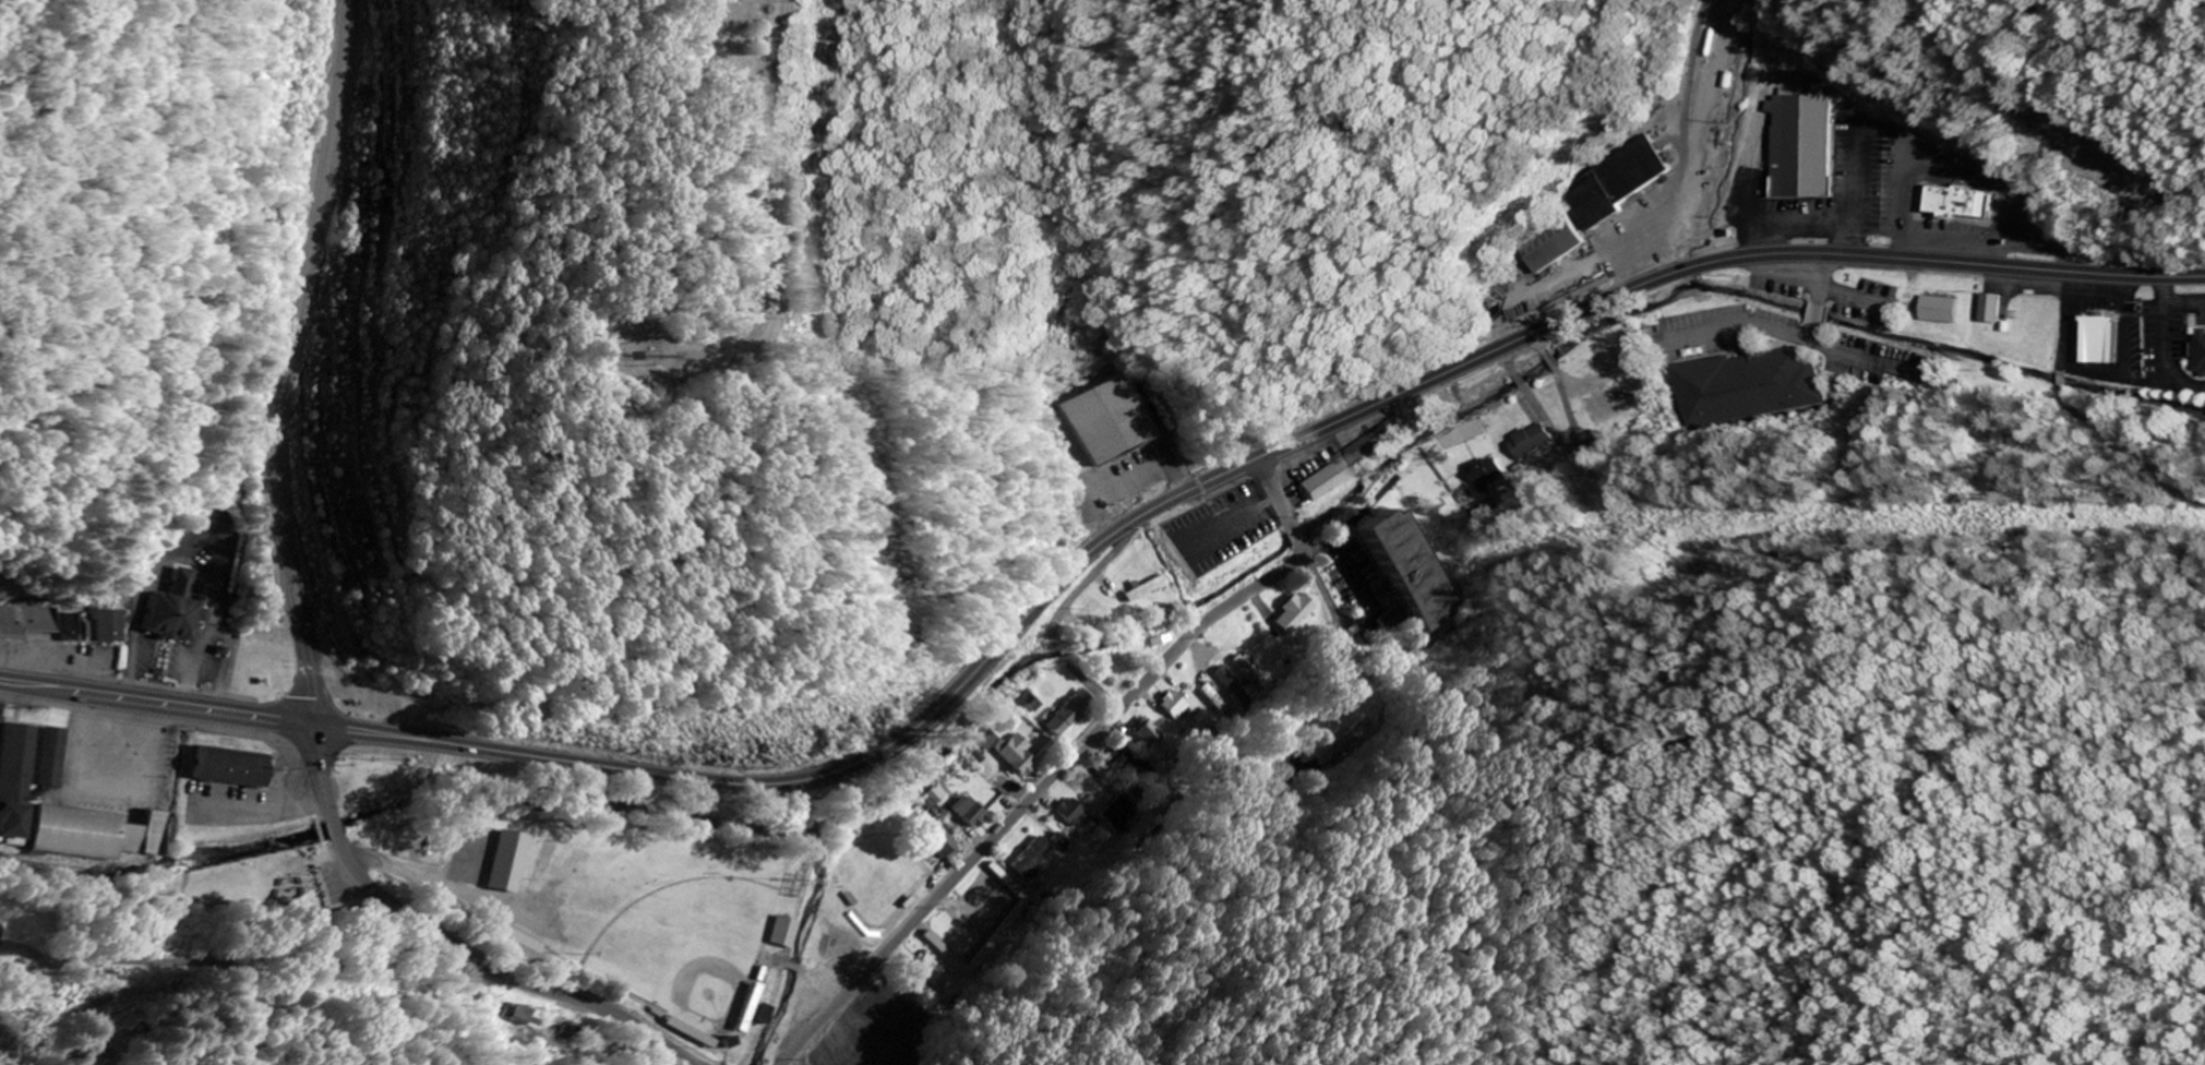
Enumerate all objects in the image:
road: (2048, 117)
road: (1679, 144)
building: (1805, 149)
building: (1964, 201)
road: (780, 212)
building: (1994, 310)
building: (1944, 311)
building: (2106, 342)
building: (2204, 348)
road: (296, 360)
building: (1747, 385)
building: (1106, 416)
building: (1533, 442)
building: (1383, 443)
building: (1489, 474)
building: (1331, 478)
road: (1090, 552)
building: (1395, 562)
road: (1277, 573)
building: (1147, 588)
building: (1297, 614)
building: (179, 619)
building: (31, 621)
building: (76, 627)
building: (109, 629)
building: (88, 633)
parking lot: (56, 662)
building: (1248, 671)
building: (1233, 686)
building: (1217, 702)
building: (1028, 703)
building: (1175, 706)
building: (1068, 714)
building: (1148, 733)
building: (1349, 740)
building: (986, 741)
parking lot: (121, 750)
building: (48, 752)
building: (1016, 755)
building: (235, 768)
building: (12, 775)
building: (937, 795)
road: (1021, 805)
building: (972, 813)
building: (1076, 813)
building: (1122, 815)
building: (92, 831)
building: (947, 846)
park: (472, 849)
building: (506, 858)
building: (1035, 859)
road: (359, 873)
park: (612, 899)
building: (997, 905)
building: (781, 928)
building: (1, 937)
park: (686, 942)
road: (565, 955)
road: (244, 961)
building: (934, 969)
road: (594, 1005)
road: (832, 1014)
building: (582, 1037)
building: (704, 1039)

